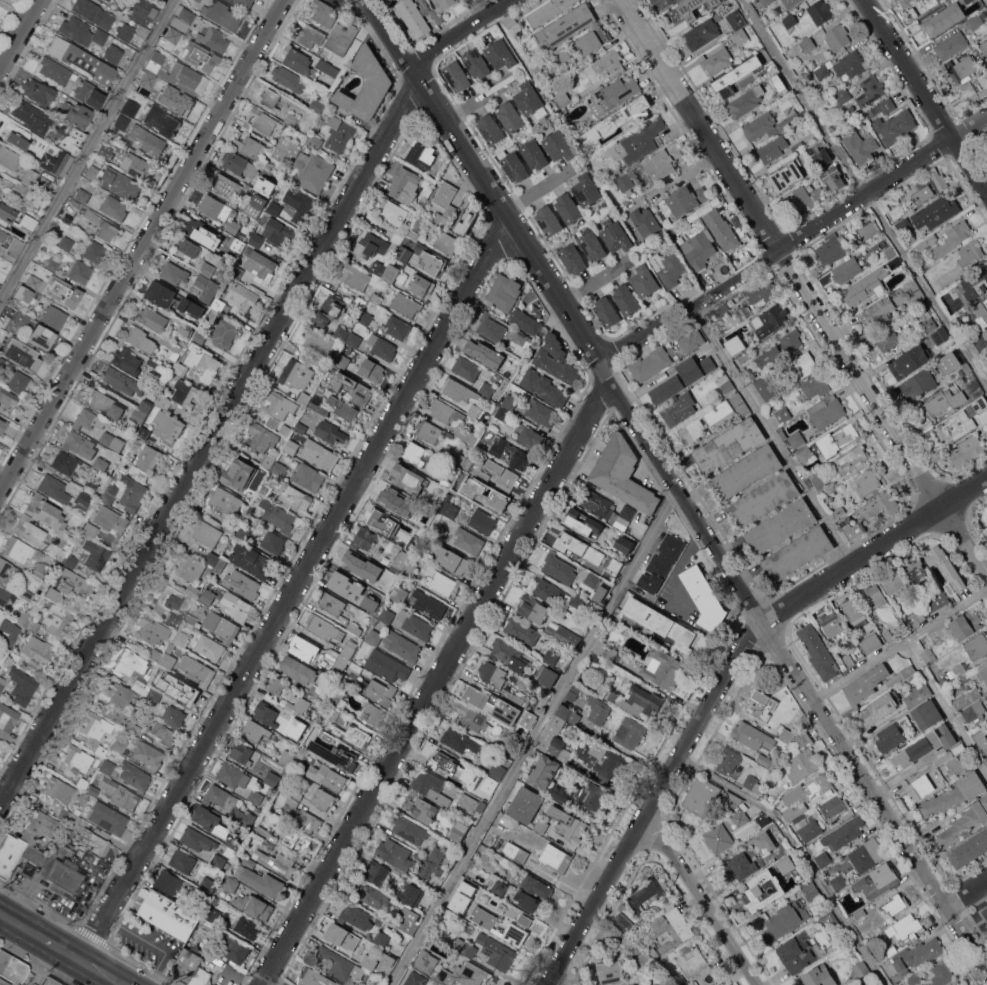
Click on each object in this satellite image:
building: (104, 0)
building: (159, 0)
building: (198, 0)
building: (962, 0)
road: (986, 0)
building: (967, 1)
building: (242, 2)
building: (766, 2)
building: (446, 3)
building: (662, 3)
building: (790, 3)
building: (919, 6)
building: (689, 9)
building: (142, 11)
building: (547, 11)
building: (819, 11)
building: (93, 12)
building: (323, 12)
building: (221, 14)
building: (185, 15)
building: (436, 15)
building: (412, 17)
building: (736, 19)
building: (943, 19)
building: (789, 20)
building: (975, 20)
building: (511, 22)
building: (566, 25)
building: (142, 30)
building: (124, 31)
building: (82, 32)
road: (19, 33)
road: (461, 33)
building: (701, 33)
building: (171, 35)
building: (309, 35)
building: (740, 35)
building: (341, 37)
building: (837, 37)
building: (214, 39)
building: (593, 40)
building: (808, 44)
building: (168, 45)
building: (951, 45)
building: (984, 45)
building: (113, 53)
building: (501, 54)
building: (561, 54)
building: (198, 58)
building: (81, 60)
building: (299, 60)
building: (716, 61)
building: (477, 62)
building: (156, 64)
building: (851, 64)
building: (603, 65)
building: (327, 67)
building: (961, 67)
building: (54, 70)
building: (457, 75)
building: (817, 75)
building: (291, 78)
building: (754, 78)
building: (147, 79)
building: (187, 79)
building: (726, 82)
building: (367, 84)
building: (778, 84)
building: (165, 85)
building: (974, 87)
building: (37, 90)
building: (136, 90)
building: (870, 90)
building: (88, 94)
building: (613, 94)
road: (926, 94)
building: (842, 95)
building: (270, 97)
road: (484, 97)
building: (562, 98)
building: (154, 99)
building: (180, 100)
building: (530, 100)
building: (746, 101)
building: (133, 103)
building: (317, 104)
building: (887, 105)
building: (636, 108)
building: (74, 114)
building: (32, 116)
building: (510, 116)
building: (140, 118)
building: (290, 118)
building: (261, 120)
building: (788, 121)
building: (166, 122)
building: (759, 125)
building: (895, 127)
building: (491, 129)
building: (339, 133)
building: (614, 133)
building: (15, 135)
building: (141, 135)
building: (71, 140)
building: (640, 140)
building: (314, 141)
building: (289, 145)
building: (558, 145)
building: (861, 146)
building: (249, 147)
building: (798, 147)
building: (772, 148)
building: (421, 150)
road: (87, 151)
building: (105, 151)
building: (279, 153)
building: (534, 153)
building: (9, 157)
building: (823, 157)
building: (55, 162)
building: (661, 162)
building: (136, 165)
building: (514, 166)
building: (618, 170)
building: (248, 171)
building: (313, 171)
building: (92, 172)
building: (787, 175)
building: (29, 177)
building: (833, 177)
building: (0, 178)
building: (625, 182)
building: (120, 183)
building: (226, 184)
building: (405, 184)
building: (19, 186)
building: (928, 188)
building: (587, 189)
road: (866, 189)
road: (540, 192)
building: (82, 196)
building: (801, 198)
building: (687, 199)
building: (298, 202)
building: (444, 202)
building: (75, 203)
building: (255, 205)
building: (114, 207)
building: (214, 207)
building: (569, 207)
building: (275, 208)
building: (936, 211)
building: (396, 212)
building: (6, 213)
building: (466, 220)
building: (549, 220)
building: (645, 222)
building: (419, 223)
building: (27, 225)
building: (102, 225)
building: (232, 226)
building: (719, 226)
building: (905, 226)
building: (869, 229)
building: (277, 232)
building: (202, 233)
building: (413, 234)
building: (3, 235)
building: (883, 235)
building: (616, 236)
road: (792, 236)
building: (397, 237)
building: (952, 238)
building: (255, 239)
building: (444, 241)
building: (238, 242)
building: (926, 242)
building: (66, 243)
road: (142, 243)
building: (370, 244)
building: (592, 245)
building: (188, 246)
building: (832, 248)
building: (11, 249)
building: (698, 249)
building: (93, 251)
building: (890, 252)
building: (403, 253)
building: (970, 253)
building: (572, 258)
building: (894, 262)
building: (433, 263)
building: (53, 264)
building: (260, 264)
building: (668, 267)
building: (377, 268)
building: (207, 269)
building: (846, 269)
building: (79, 271)
building: (174, 272)
building: (390, 274)
building: (356, 276)
road: (604, 279)
building: (30, 280)
building: (644, 281)
building: (422, 285)
building: (975, 285)
building: (207, 287)
building: (867, 287)
building: (60, 288)
road: (804, 288)
building: (759, 292)
building: (160, 293)
building: (505, 293)
building: (26, 295)
building: (243, 296)
building: (375, 298)
building: (626, 299)
building: (360, 301)
building: (218, 304)
building: (406, 304)
building: (892, 304)
building: (192, 305)
building: (981, 309)
building: (607, 311)
building: (322, 314)
building: (739, 315)
building: (54, 317)
building: (364, 317)
building: (152, 318)
building: (21, 319)
building: (771, 320)
building: (526, 321)
building: (928, 321)
building: (398, 326)
building: (186, 328)
building: (491, 328)
building: (224, 332)
building: (341, 332)
building: (940, 335)
building: (199, 336)
building: (39, 338)
building: (521, 338)
building: (140, 339)
building: (353, 339)
building: (887, 339)
building: (692, 340)
building: (980, 340)
building: (318, 341)
building: (382, 346)
building: (737, 346)
building: (782, 347)
building: (172, 348)
building: (481, 348)
building: (5, 350)
building: (31, 358)
building: (744, 358)
building: (126, 360)
building: (341, 360)
building: (557, 360)
building: (202, 361)
building: (2, 362)
building: (152, 362)
building: (910, 362)
building: (950, 362)
building: (650, 364)
building: (322, 366)
building: (801, 366)
building: (967, 367)
building: (467, 368)
building: (501, 368)
building: (695, 368)
building: (181, 369)
building: (372, 370)
building: (296, 374)
building: (121, 380)
building: (18, 382)
building: (919, 383)
building: (816, 385)
building: (728, 386)
building: (765, 386)
building: (351, 387)
building: (544, 387)
building: (487, 388)
building: (457, 389)
building: (666, 389)
building: (975, 391)
building: (186, 393)
building: (303, 397)
building: (7, 398)
building: (161, 400)
building: (510, 401)
building: (943, 401)
building: (106, 404)
building: (740, 404)
building: (980, 404)
building: (279, 405)
building: (318, 405)
building: (146, 406)
building: (344, 408)
building: (679, 409)
building: (474, 410)
building: (444, 411)
building: (826, 411)
building: (540, 412)
building: (502, 413)
building: (719, 413)
building: (784, 414)
building: (138, 415)
building: (91, 420)
building: (1, 424)
building: (168, 426)
building: (301, 426)
building: (955, 426)
building: (285, 430)
building: (428, 430)
building: (692, 431)
building: (143, 432)
building: (330, 432)
road: (772, 432)
building: (986, 432)
building: (491, 434)
building: (465, 435)
building: (986, 436)
building: (261, 437)
building: (531, 437)
building: (841, 437)
building: (796, 439)
building: (112, 440)
building: (76, 442)
road: (211, 442)
building: (729, 444)
building: (292, 446)
building: (967, 450)
building: (319, 452)
building: (416, 453)
building: (804, 453)
building: (515, 456)
building: (853, 458)
building: (460, 459)
building: (267, 460)
building: (143, 461)
building: (64, 463)
building: (101, 464)
building: (468, 464)
building: (279, 468)
building: (746, 471)
building: (240, 472)
building: (403, 474)
building: (481, 474)
building: (623, 474)
building: (308, 476)
building: (503, 476)
building: (818, 481)
building: (867, 481)
building: (445, 482)
road: (673, 485)
building: (92, 487)
building: (460, 487)
building: (54, 488)
building: (265, 489)
building: (125, 492)
building: (394, 496)
building: (437, 496)
building: (449, 496)
building: (293, 497)
building: (84, 498)
building: (492, 499)
building: (764, 499)
building: (225, 500)
building: (598, 502)
building: (880, 505)
building: (449, 509)
building: (44, 511)
building: (838, 512)
building: (278, 517)
building: (625, 517)
building: (414, 518)
building: (383, 519)
building: (111, 521)
building: (482, 521)
building: (585, 522)
building: (82, 525)
building: (781, 526)
building: (231, 527)
building: (851, 528)
building: (439, 531)
building: (30, 532)
building: (206, 532)
building: (243, 532)
building: (366, 539)
building: (59, 540)
building: (468, 541)
building: (274, 542)
building: (407, 543)
building: (623, 544)
building: (573, 546)
building: (612, 546)
building: (17, 549)
building: (425, 552)
building: (798, 553)
building: (94, 555)
building: (212, 558)
building: (252, 560)
building: (355, 560)
building: (71, 561)
building: (400, 561)
building: (457, 561)
building: (661, 563)
building: (220, 564)
building: (189, 567)
building: (558, 567)
building: (40, 569)
building: (605, 569)
building: (409, 570)
building: (916, 570)
building: (943, 570)
building: (9, 571)
building: (592, 579)
building: (441, 581)
building: (892, 581)
building: (345, 582)
building: (379, 582)
building: (242, 583)
building: (75, 587)
road: (295, 588)
building: (192, 590)
building: (399, 593)
building: (555, 593)
building: (599, 593)
building: (26, 594)
building: (52, 594)
building: (874, 595)
building: (3, 596)
building: (207, 597)
building: (705, 598)
building: (936, 598)
building: (165, 599)
building: (331, 603)
building: (370, 603)
building: (429, 604)
building: (240, 608)
building: (534, 608)
building: (852, 608)
building: (623, 611)
building: (386, 615)
building: (916, 616)
building: (28, 618)
building: (191, 619)
building: (174, 620)
building: (55, 623)
building: (831, 623)
building: (965, 624)
building: (415, 625)
building: (221, 626)
building: (322, 626)
building: (354, 628)
building: (151, 629)
building: (521, 630)
building: (938, 632)
building: (563, 633)
building: (674, 633)
building: (10, 634)
building: (888, 635)
building: (374, 636)
building: (184, 640)
building: (871, 642)
building: (402, 646)
building: (977, 646)
building: (348, 648)
building: (306, 649)
road: (900, 649)
building: (208, 650)
building: (604, 650)
building: (36, 651)
building: (817, 651)
building: (508, 654)
building: (164, 655)
building: (928, 655)
building: (551, 656)
building: (592, 656)
building: (13, 657)
building: (849, 660)
building: (0, 661)
building: (132, 661)
building: (386, 665)
building: (339, 666)
building: (356, 667)
building: (663, 668)
building: (197, 669)
building: (297, 669)
building: (492, 672)
building: (971, 673)
building: (548, 676)
building: (901, 676)
road: (435, 683)
building: (1, 685)
building: (137, 685)
building: (277, 685)
building: (865, 685)
building: (21, 686)
road: (721, 687)
building: (182, 690)
building: (379, 690)
building: (602, 690)
building: (574, 691)
building: (320, 693)
building: (151, 694)
building: (337, 694)
building: (118, 695)
building: (918, 696)
building: (986, 696)
building: (967, 697)
building: (515, 698)
building: (543, 699)
building: (638, 700)
building: (490, 704)
building: (763, 704)
building: (880, 707)
road: (947, 707)
building: (294, 708)
building: (598, 709)
building: (372, 713)
building: (974, 713)
building: (568, 714)
building: (927, 714)
building: (173, 715)
building: (6, 716)
building: (116, 716)
building: (339, 716)
building: (278, 718)
building: (472, 718)
building: (528, 719)
building: (95, 725)
building: (132, 727)
building: (256, 731)
building: (629, 732)
building: (163, 733)
building: (509, 733)
building: (352, 734)
building: (325, 735)
building: (752, 735)
building: (786, 735)
road: (533, 737)
building: (889, 737)
building: (803, 738)
building: (980, 739)
building: (459, 740)
building: (554, 741)
building: (119, 745)
building: (925, 746)
building: (100, 750)
building: (242, 752)
building: (303, 752)
building: (335, 754)
building: (148, 755)
building: (288, 757)
building: (942, 758)
building: (77, 759)
building: (599, 759)
building: (728, 760)
building: (766, 761)
building: (447, 762)
building: (802, 764)
building: (955, 766)
building: (107, 767)
building: (498, 768)
building: (544, 771)
road: (904, 772)
building: (233, 774)
building: (135, 776)
building: (328, 776)
building: (272, 779)
building: (481, 780)
building: (753, 783)
building: (83, 784)
building: (464, 785)
building: (430, 787)
building: (920, 787)
building: (59, 789)
building: (809, 789)
building: (92, 790)
building: (561, 793)
building: (119, 794)
building: (296, 794)
building: (954, 794)
building: (590, 795)
building: (256, 797)
building: (323, 798)
building: (704, 799)
building: (730, 799)
building: (292, 801)
building: (471, 802)
building: (229, 804)
building: (525, 804)
building: (833, 806)
building: (421, 808)
building: (78, 811)
building: (64, 814)
building: (795, 814)
building: (75, 818)
building: (108, 818)
building: (737, 819)
building: (211, 820)
building: (761, 820)
building: (308, 821)
building: (964, 822)
building: (541, 824)
building: (569, 824)
building: (40, 826)
building: (409, 829)
building: (810, 829)
building: (459, 830)
building: (844, 832)
building: (266, 833)
building: (719, 837)
building: (198, 839)
building: (93, 841)
building: (295, 841)
building: (765, 842)
building: (233, 843)
building: (268, 844)
building: (969, 850)
building: (515, 851)
building: (393, 852)
building: (10, 853)
building: (436, 854)
road: (800, 854)
building: (867, 854)
building: (94, 857)
building: (555, 858)
building: (822, 858)
building: (29, 860)
building: (218, 860)
building: (183, 861)
building: (248, 861)
building: (277, 862)
building: (428, 865)
building: (741, 865)
building: (784, 865)
building: (376, 871)
building: (63, 876)
building: (262, 881)
building: (878, 881)
building: (839, 882)
building: (207, 883)
building: (806, 883)
building: (231, 884)
building: (498, 886)
building: (182, 887)
road: (966, 891)
building: (533, 892)
building: (646, 893)
building: (370, 894)
building: (411, 894)
building: (813, 894)
building: (758, 895)
road: (705, 902)
building: (458, 903)
building: (896, 903)
building: (254, 905)
building: (985, 911)
building: (169, 914)
building: (860, 914)
building: (215, 915)
building: (355, 916)
building: (829, 918)
building: (409, 920)
building: (484, 920)
building: (622, 920)
building: (785, 920)
building: (204, 923)
road: (22, 925)
building: (518, 925)
building: (248, 926)
building: (906, 926)
building: (673, 927)
building: (342, 936)
building: (843, 936)
building: (381, 938)
road: (154, 942)
building: (459, 943)
building: (628, 943)
building: (234, 948)
road: (61, 949)
building: (469, 949)
building: (497, 951)
building: (890, 951)
building: (797, 953)
building: (652, 954)
building: (917, 954)
building: (387, 958)
building: (692, 959)
building: (190, 961)
building: (368, 961)
building: (425, 961)
building: (644, 962)
building: (340, 964)
road: (43, 965)
building: (12, 968)
building: (861, 968)
building: (611, 971)
road: (101, 972)
building: (943, 973)
building: (465, 974)
building: (819, 976)
building: (201, 977)
building: (316, 978)
building: (415, 979)
building: (914, 979)
road: (272, 980)
building: (47, 981)
building: (4, 982)
road: (113, 982)
road: (552, 983)
building: (692, 983)
building: (34, 984)
building: (958, 984)

